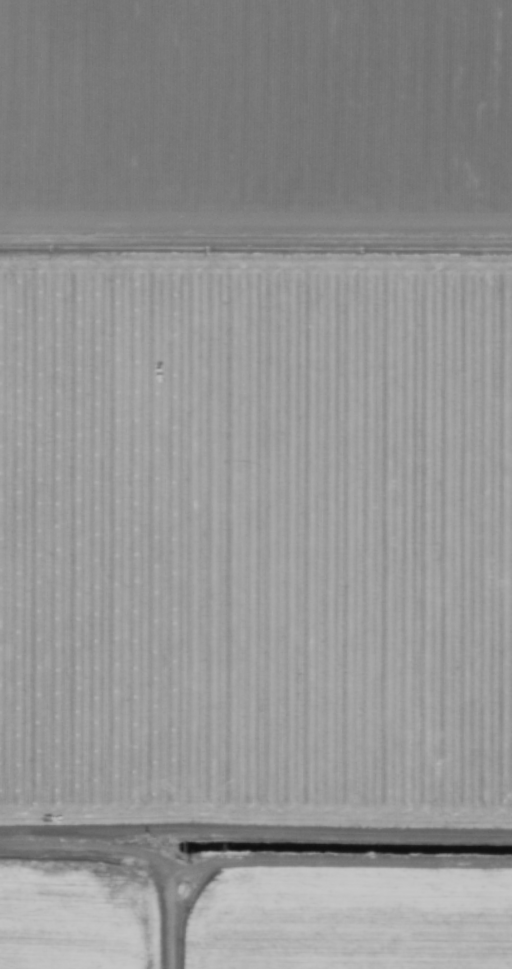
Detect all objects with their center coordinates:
road: (139, 844)

